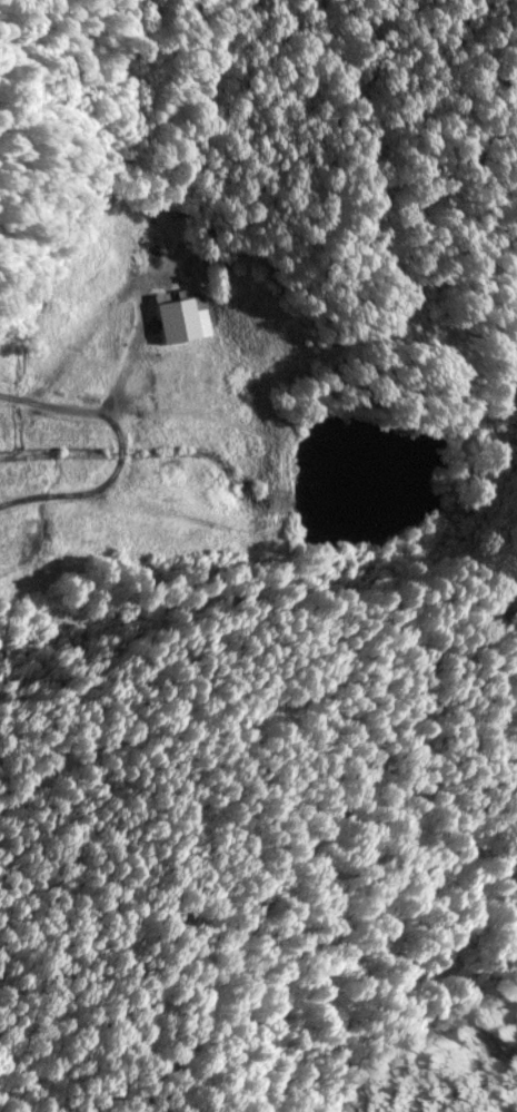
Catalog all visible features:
road: (332, 248)
building: (175, 322)

